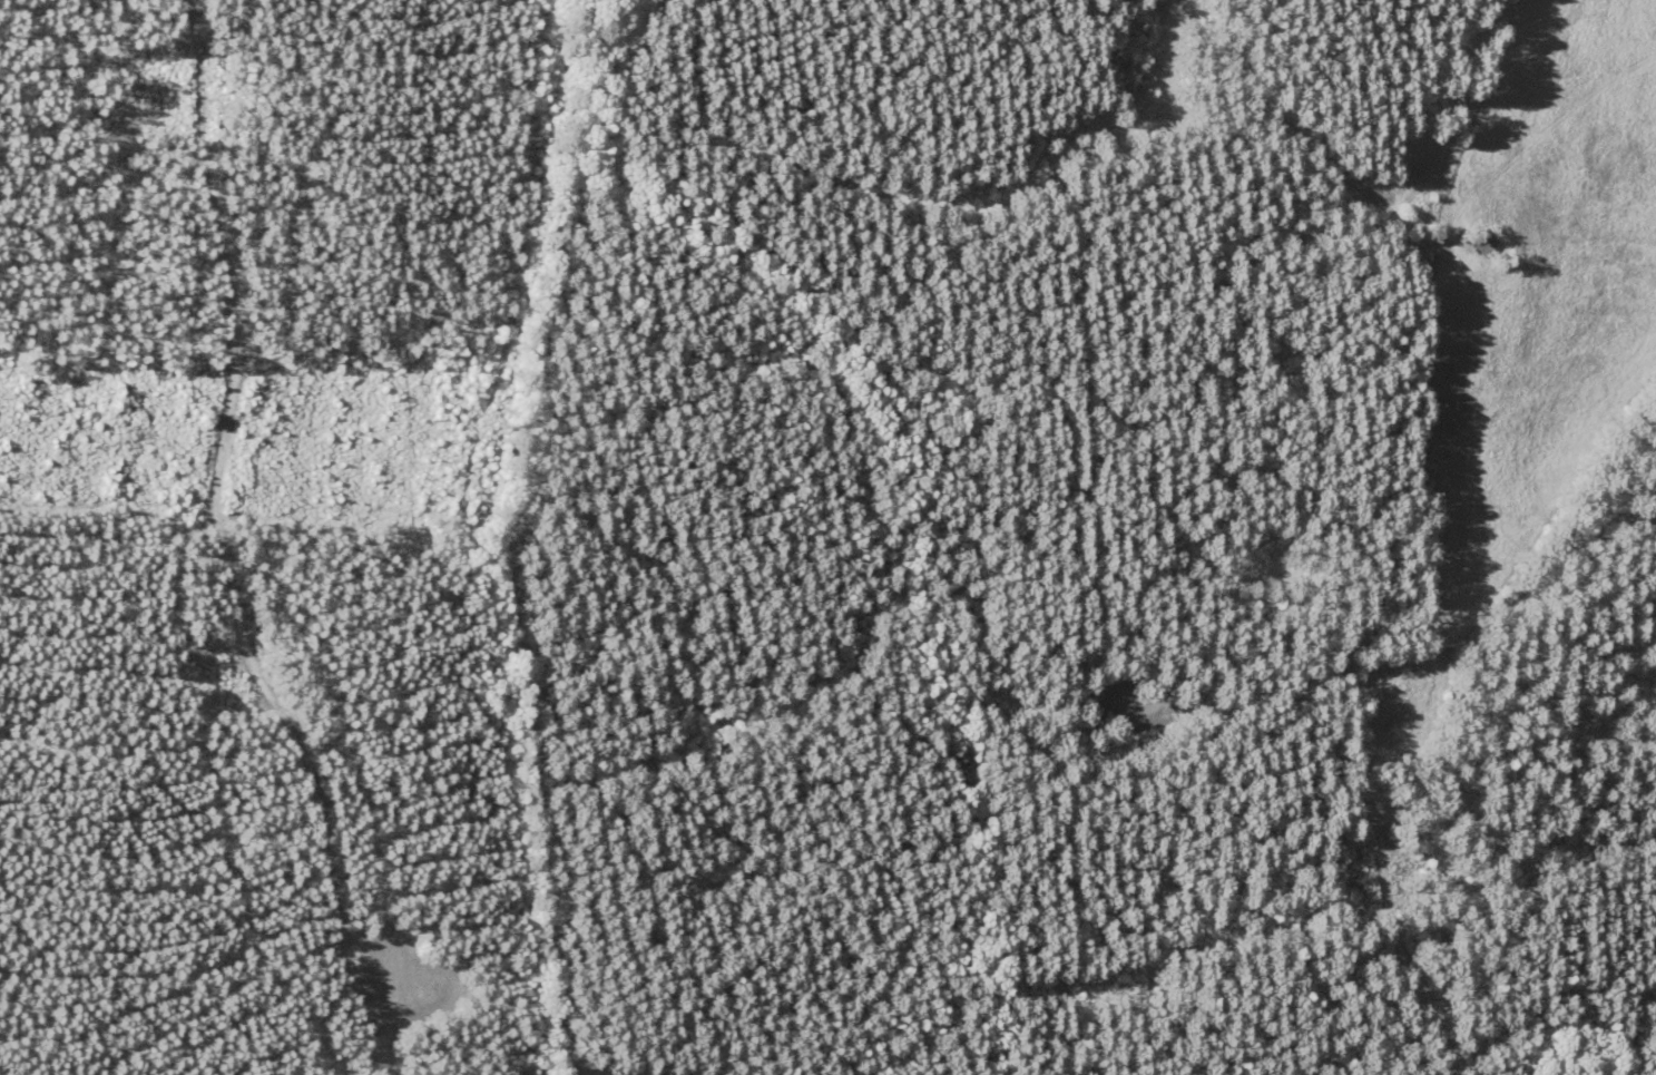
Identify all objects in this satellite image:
building: (1479, 242)

